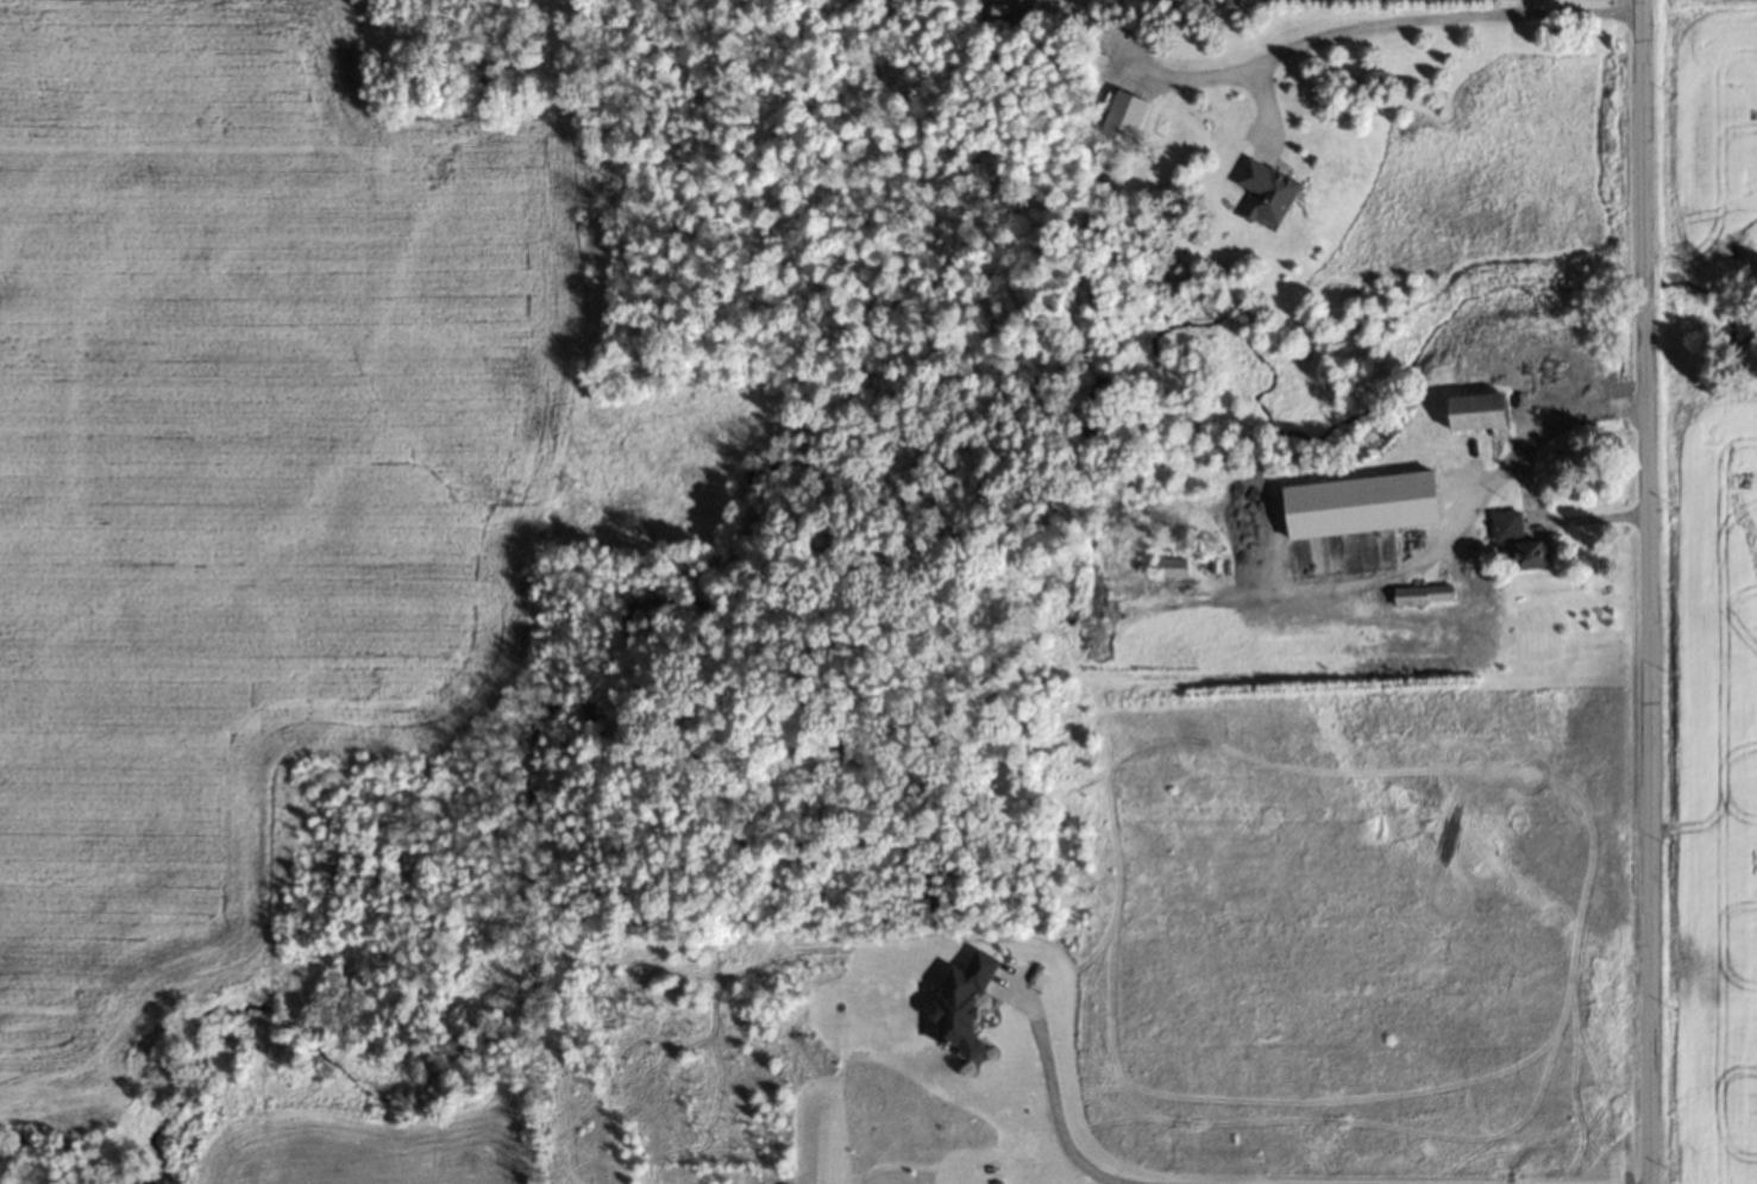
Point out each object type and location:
road: (1445, 10)
building: (1124, 117)
crop: (1717, 127)
building: (1267, 192)
building: (1480, 412)
road: (1526, 465)
building: (1507, 525)
building: (1527, 555)
building: (1171, 565)
road: (1649, 591)
building: (1422, 593)
crop: (1724, 793)
building: (961, 1002)
crop: (408, 1136)

